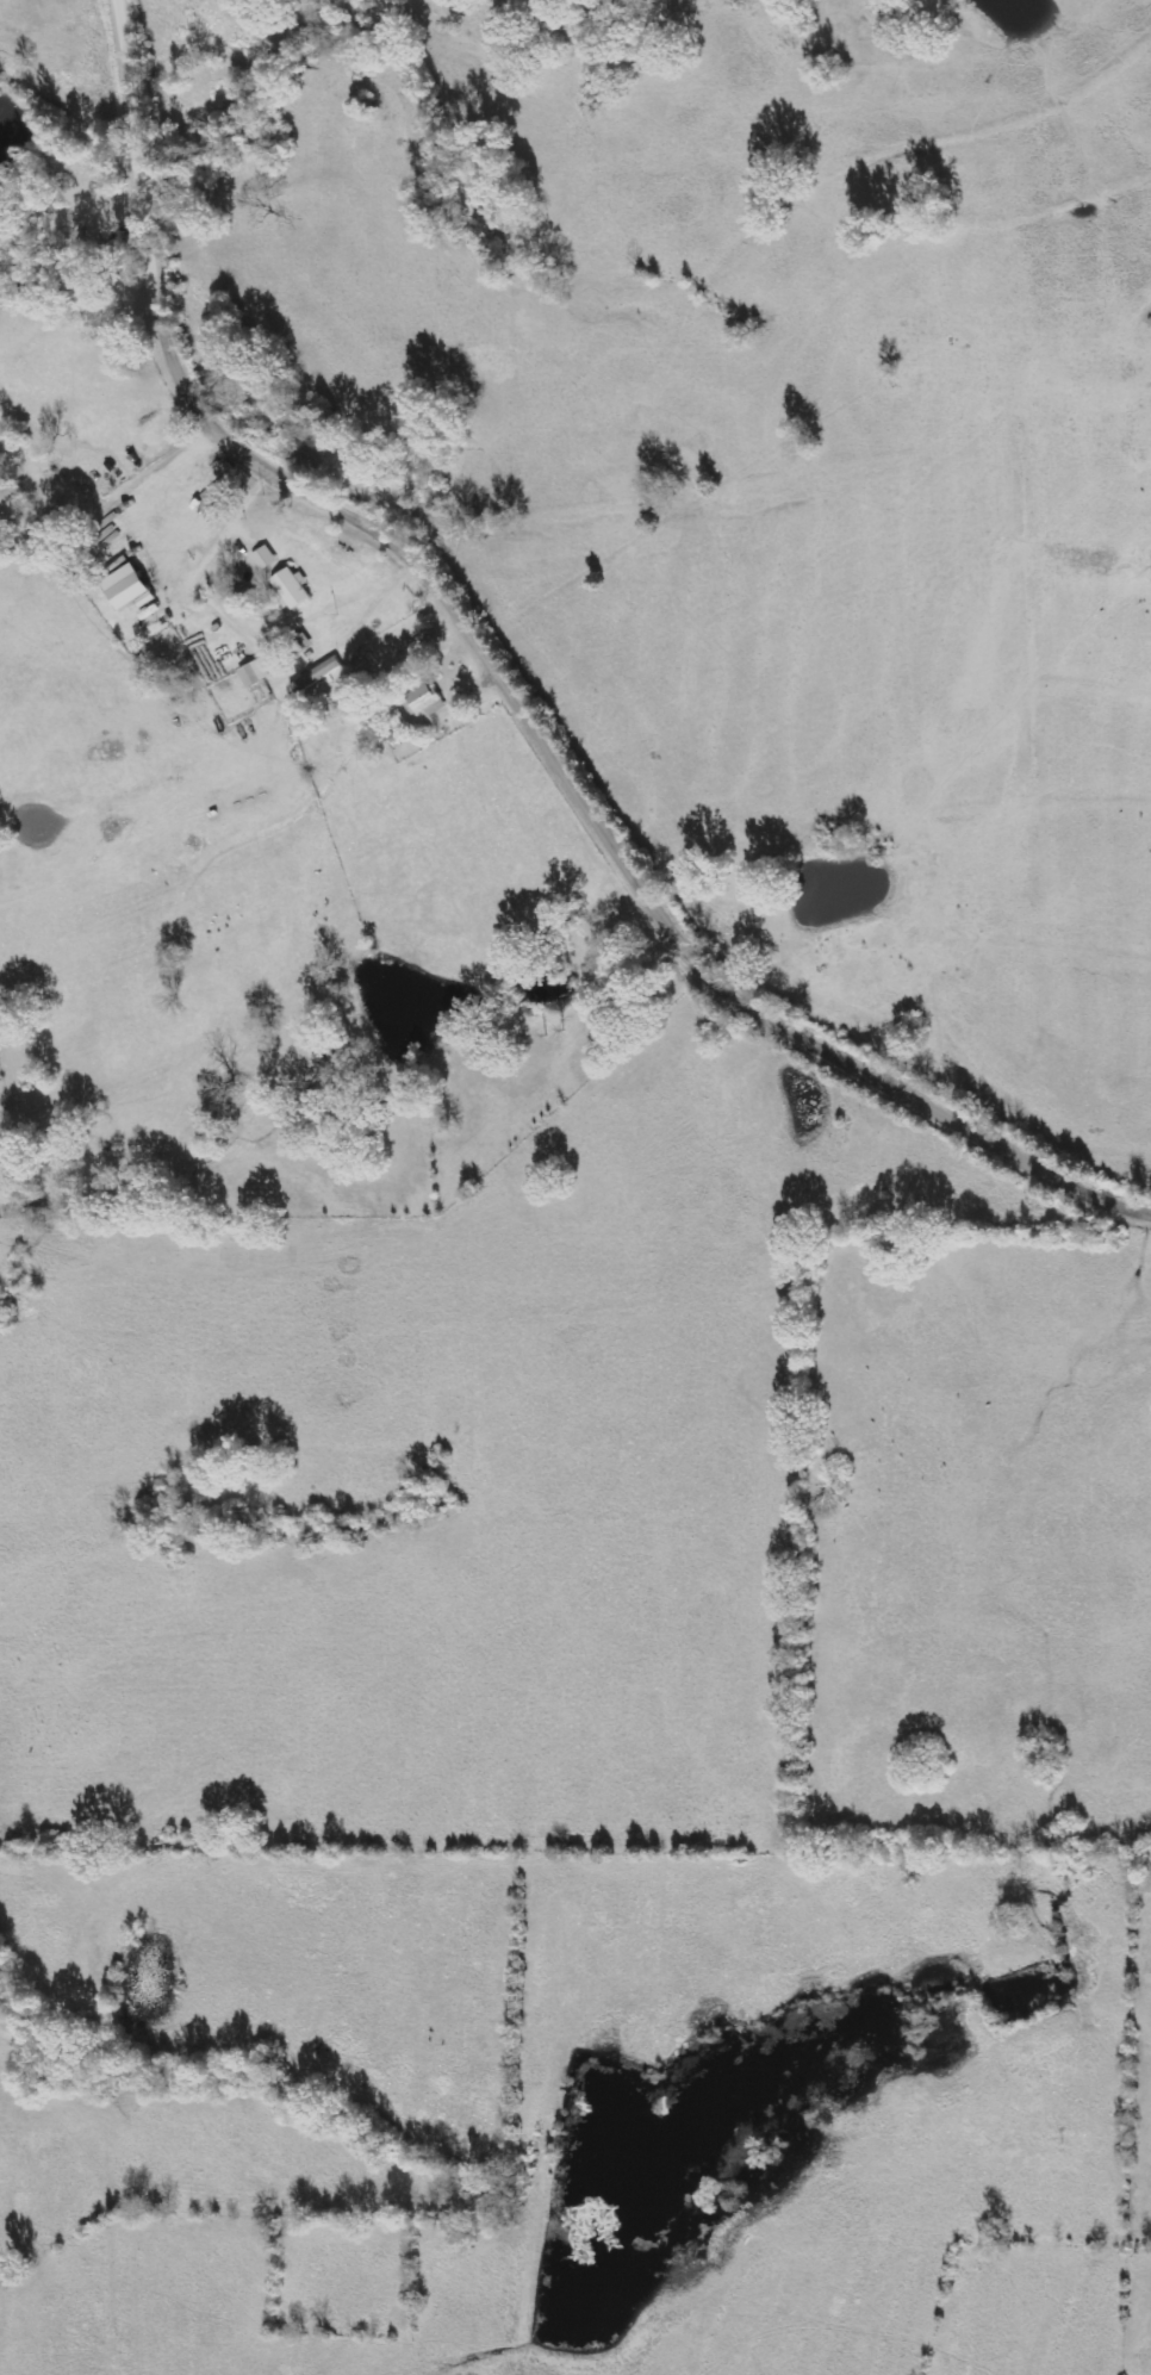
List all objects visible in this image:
building: (263, 558)
building: (126, 589)
building: (290, 590)
building: (253, 673)
road: (514, 690)
building: (422, 702)

